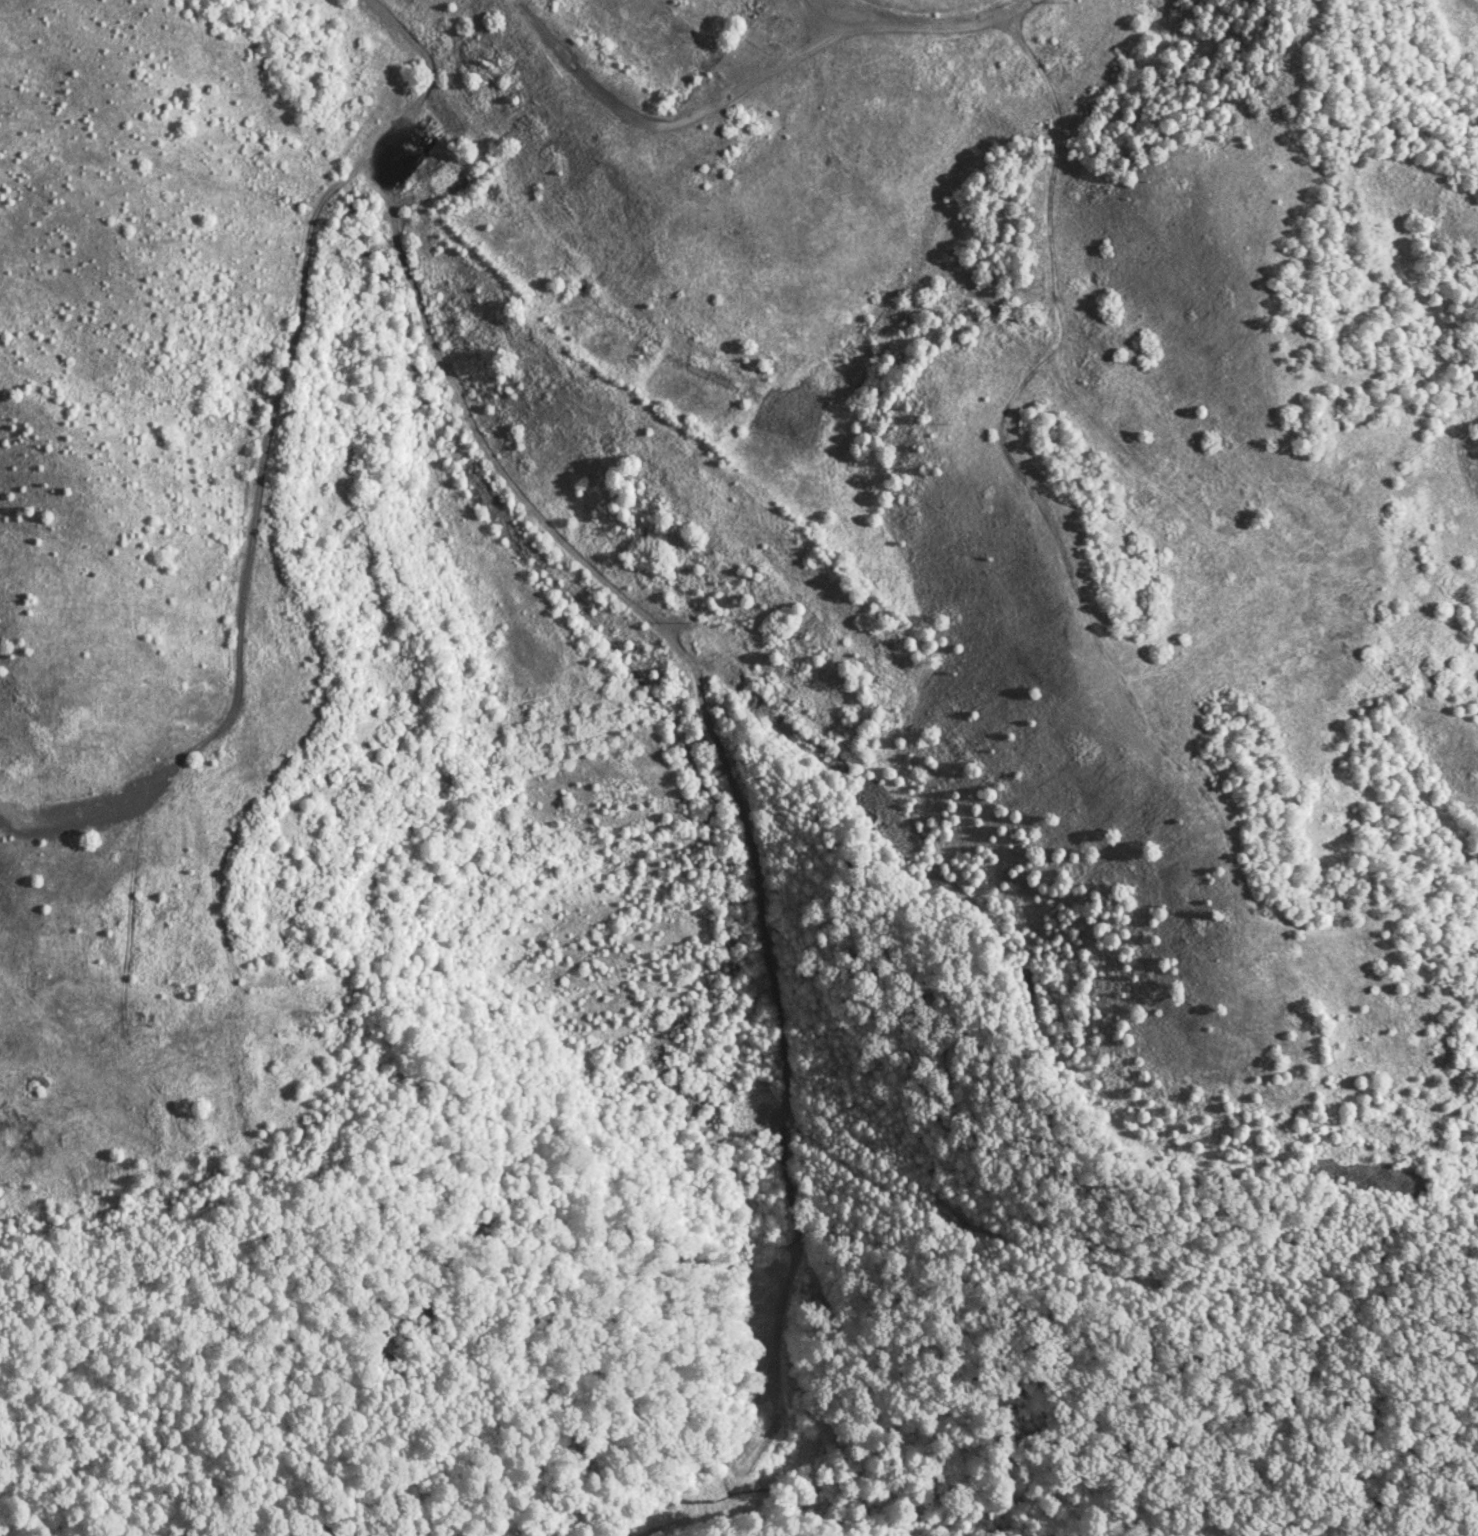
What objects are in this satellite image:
quarry: (1465, 22)
quarry: (673, 486)
quarry: (1472, 1120)

